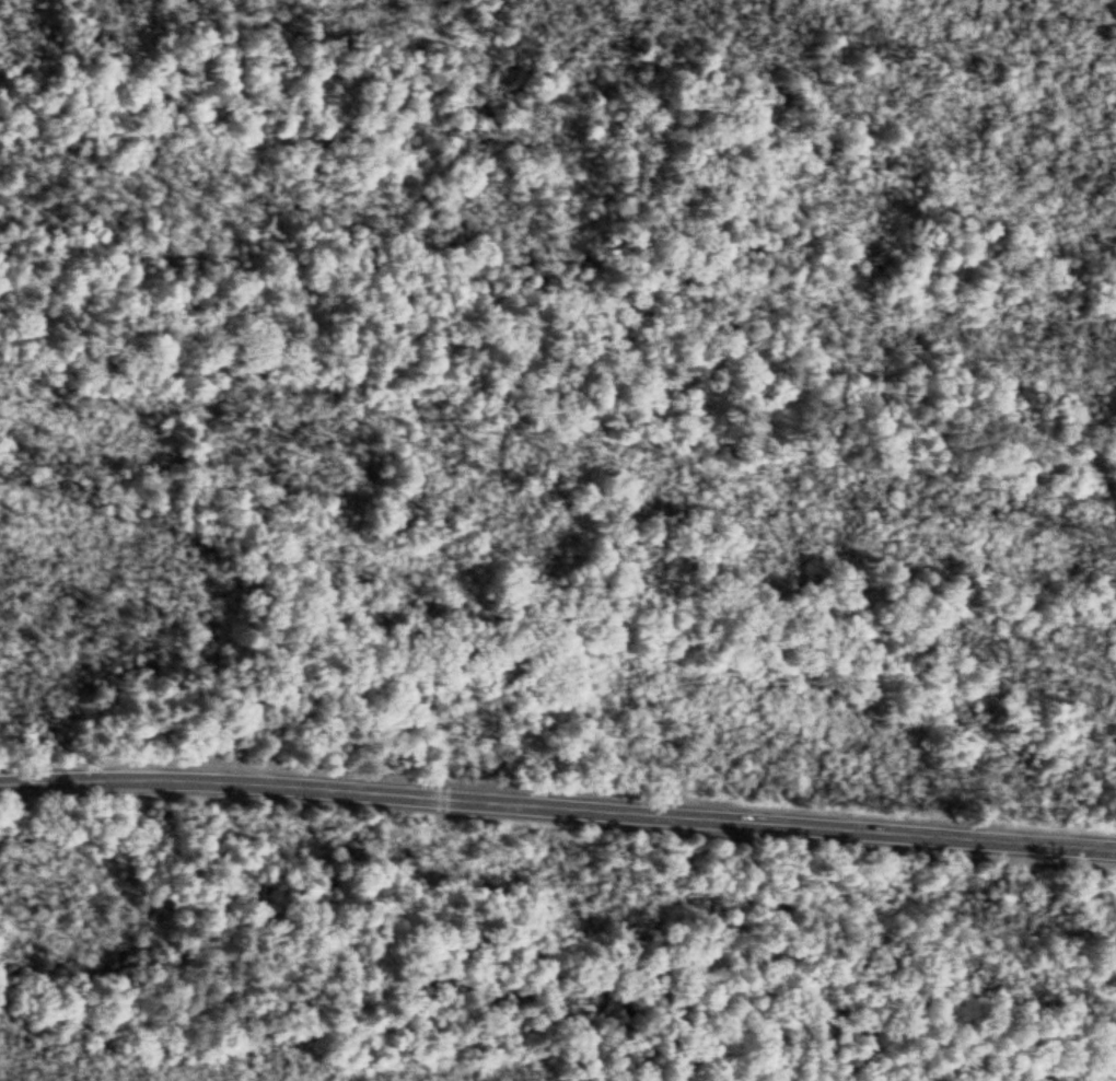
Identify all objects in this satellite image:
road: (558, 809)

